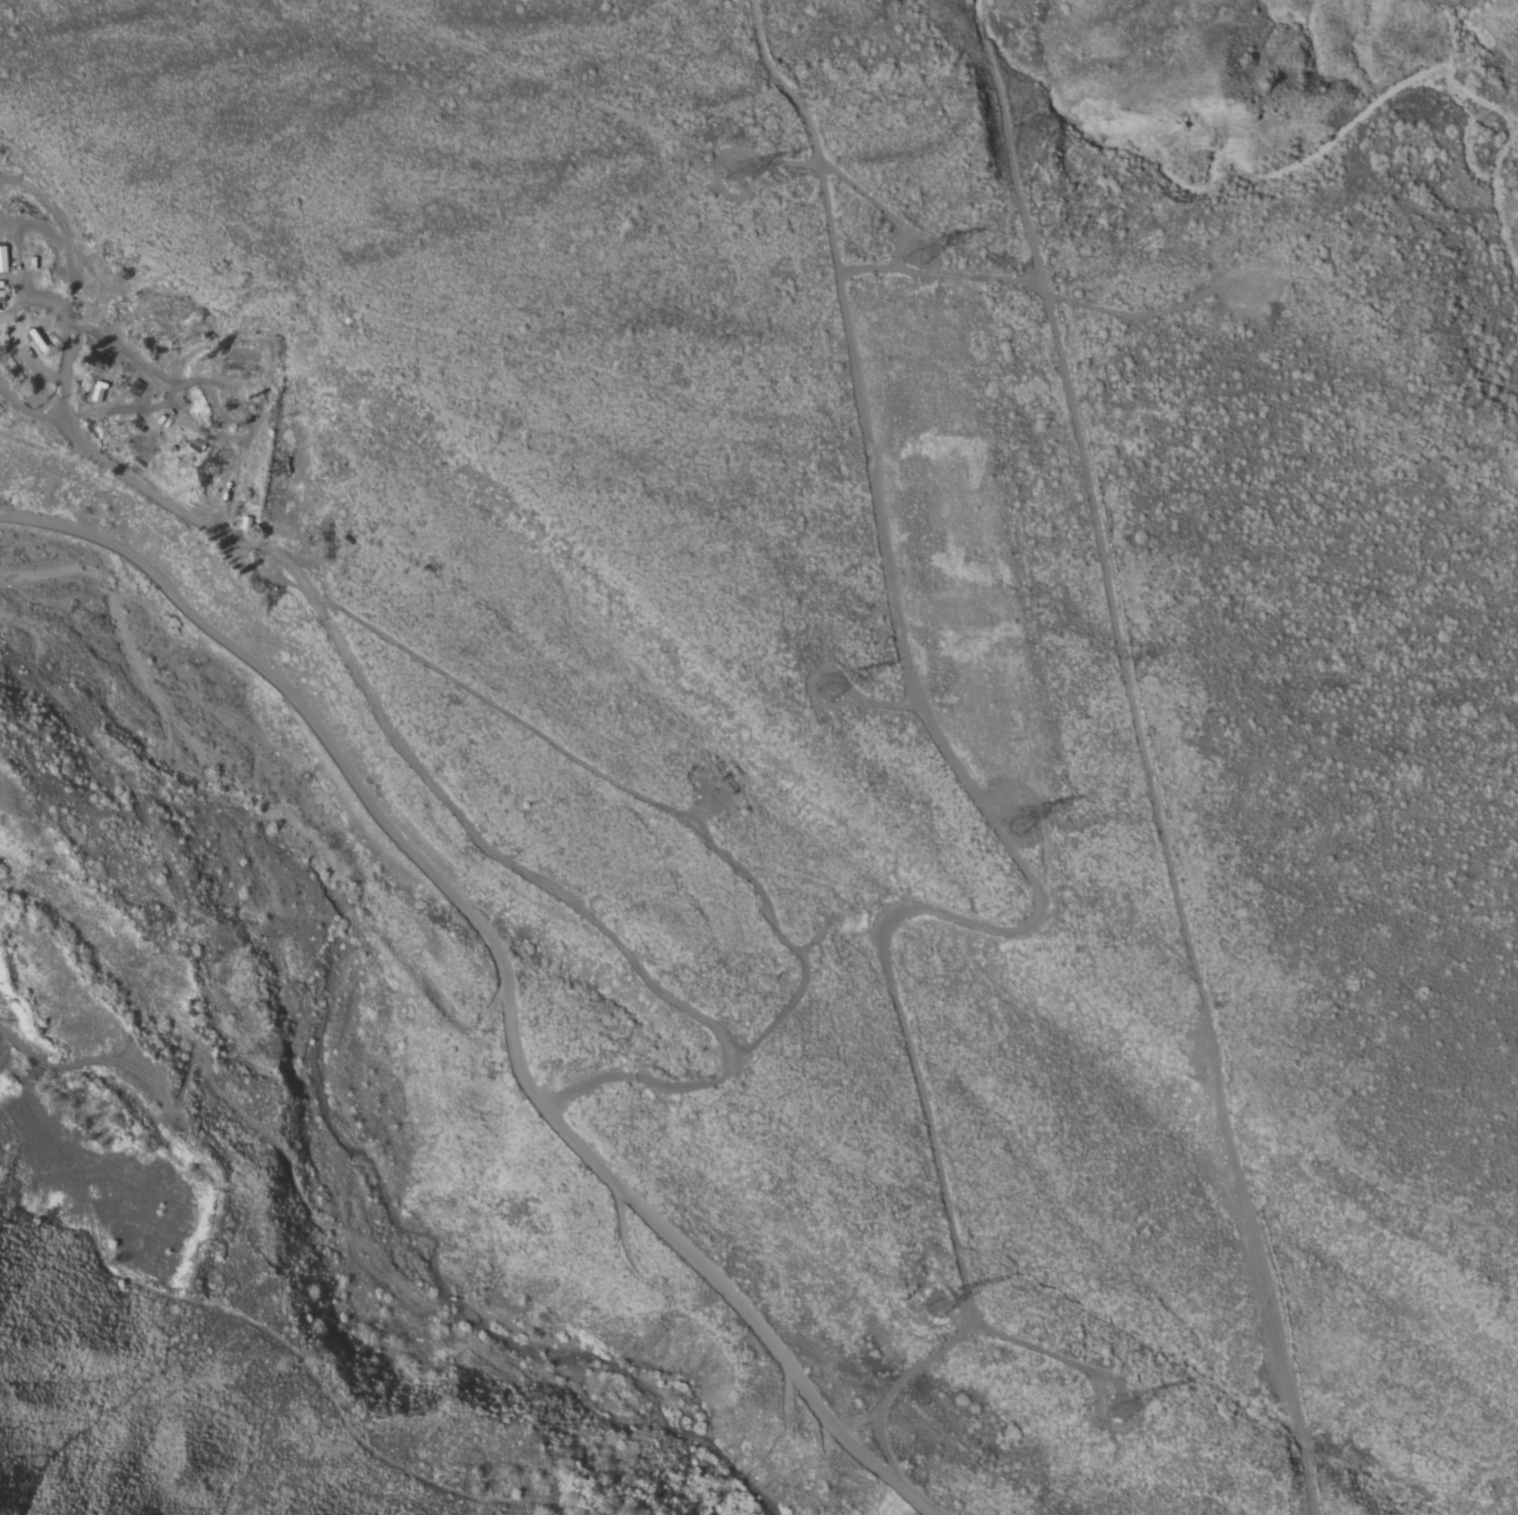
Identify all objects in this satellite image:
power tower: (759, 176)
road: (855, 182)
road: (823, 187)
power tower: (929, 255)
road: (1044, 292)
power tower: (837, 688)
road: (880, 702)
road: (1145, 758)
road: (443, 793)
power tower: (1033, 816)
road: (939, 910)
road: (507, 974)
power tower: (945, 1302)
road: (1040, 1350)
power tower: (1134, 1402)

